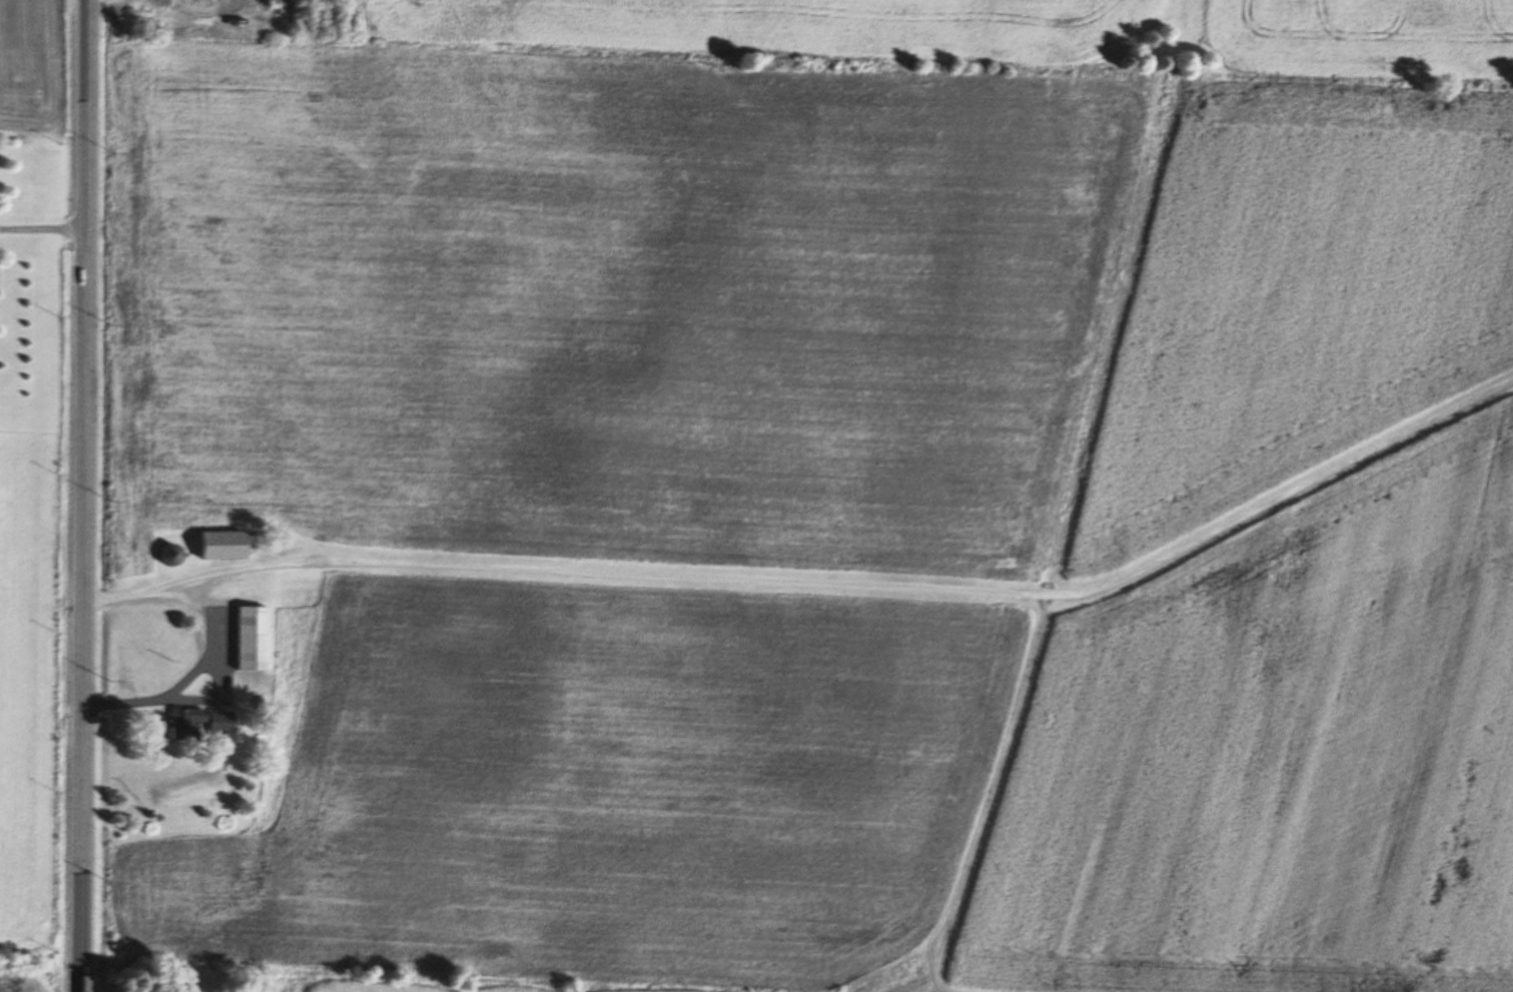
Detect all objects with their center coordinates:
road: (44, 229)
road: (86, 495)
building: (212, 544)
road: (844, 584)
building: (243, 637)
road: (207, 643)
building: (198, 719)

